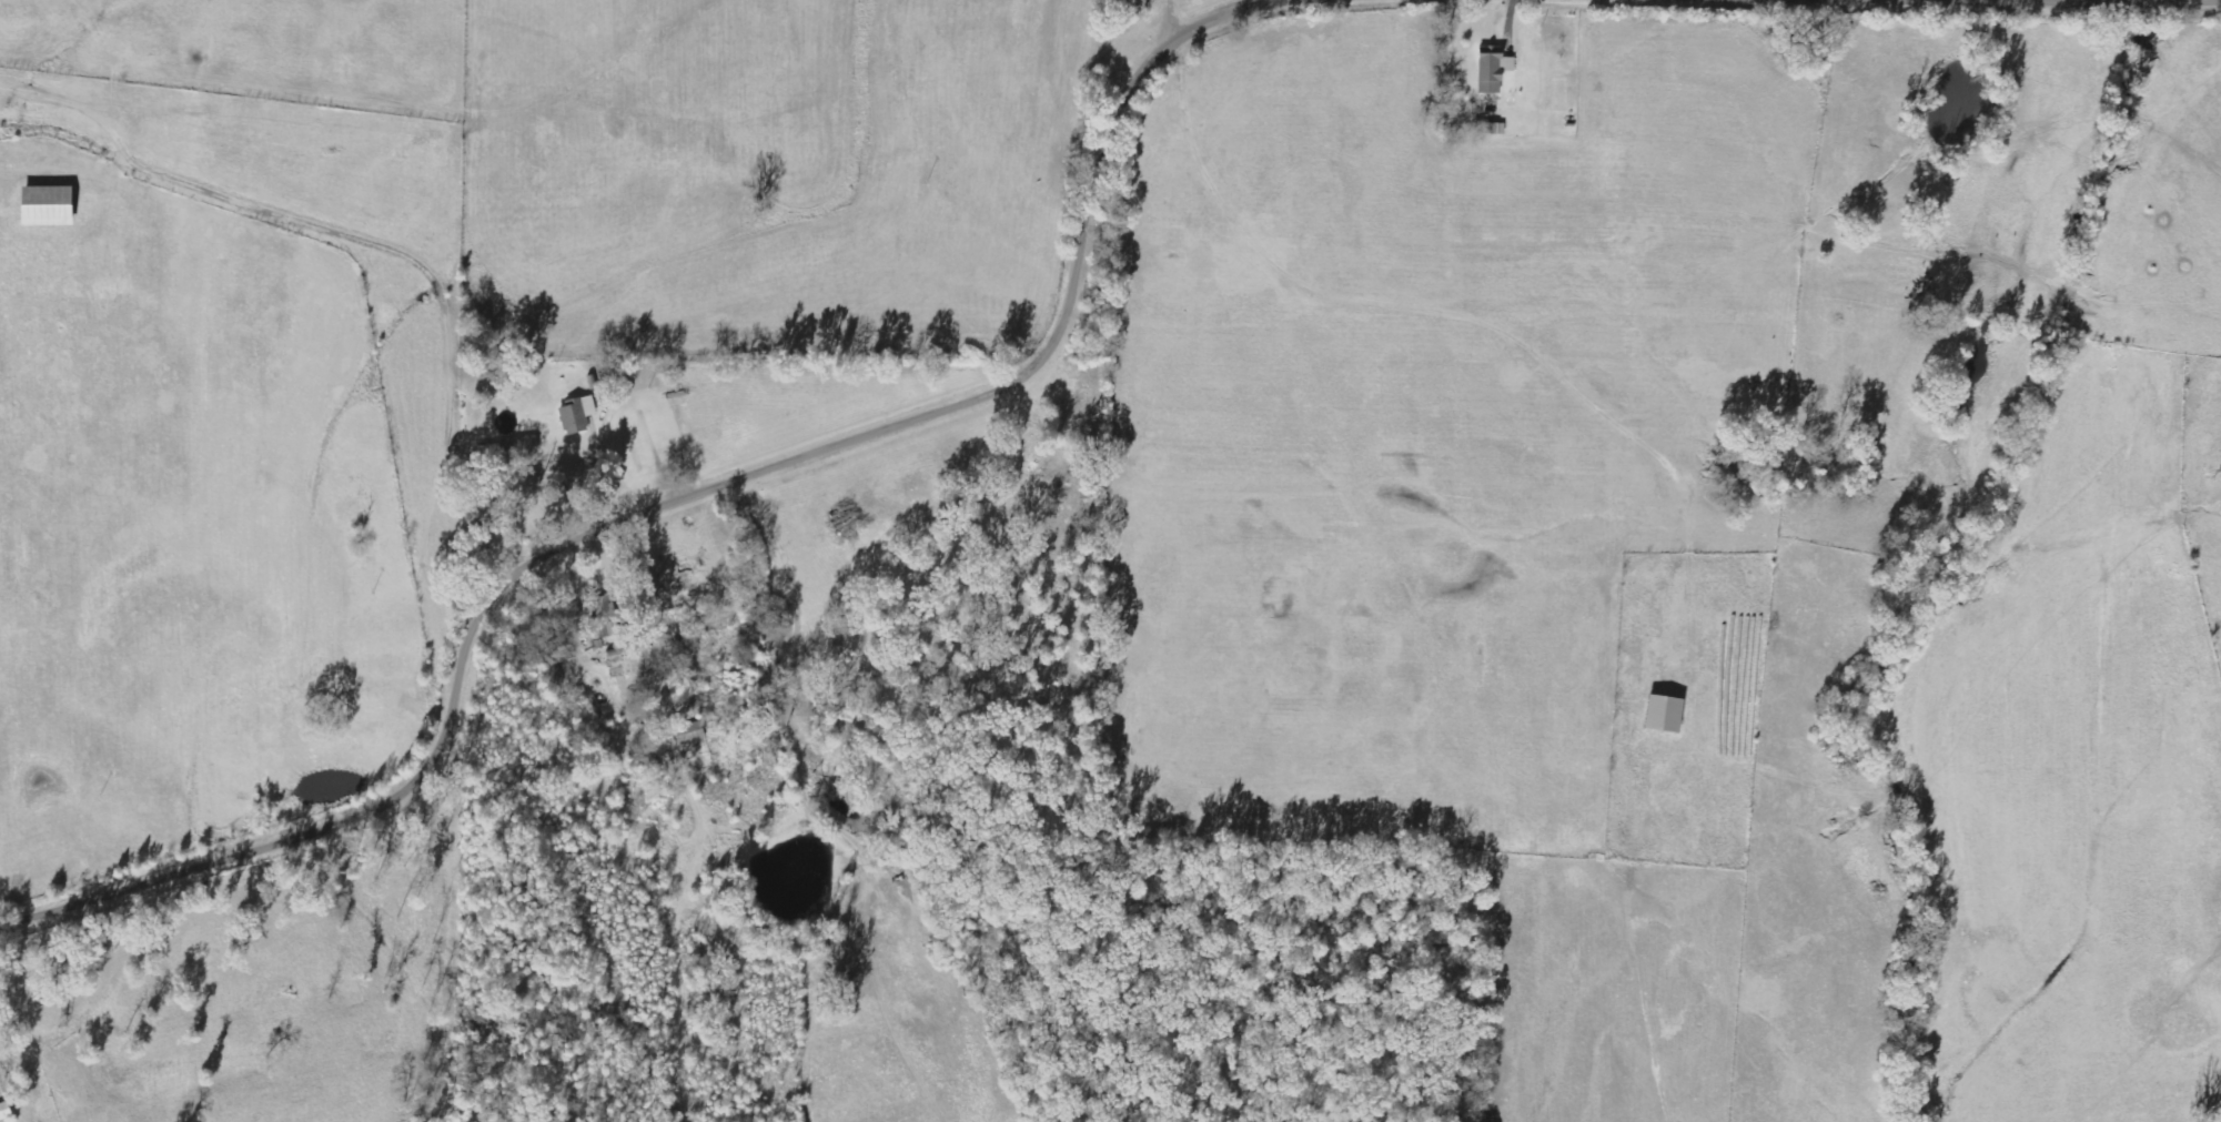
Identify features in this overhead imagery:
building: (1491, 71)
building: (53, 206)
building: (575, 415)
road: (679, 498)
building: (603, 618)
building: (1658, 715)
building: (687, 735)
building: (7, 1112)

